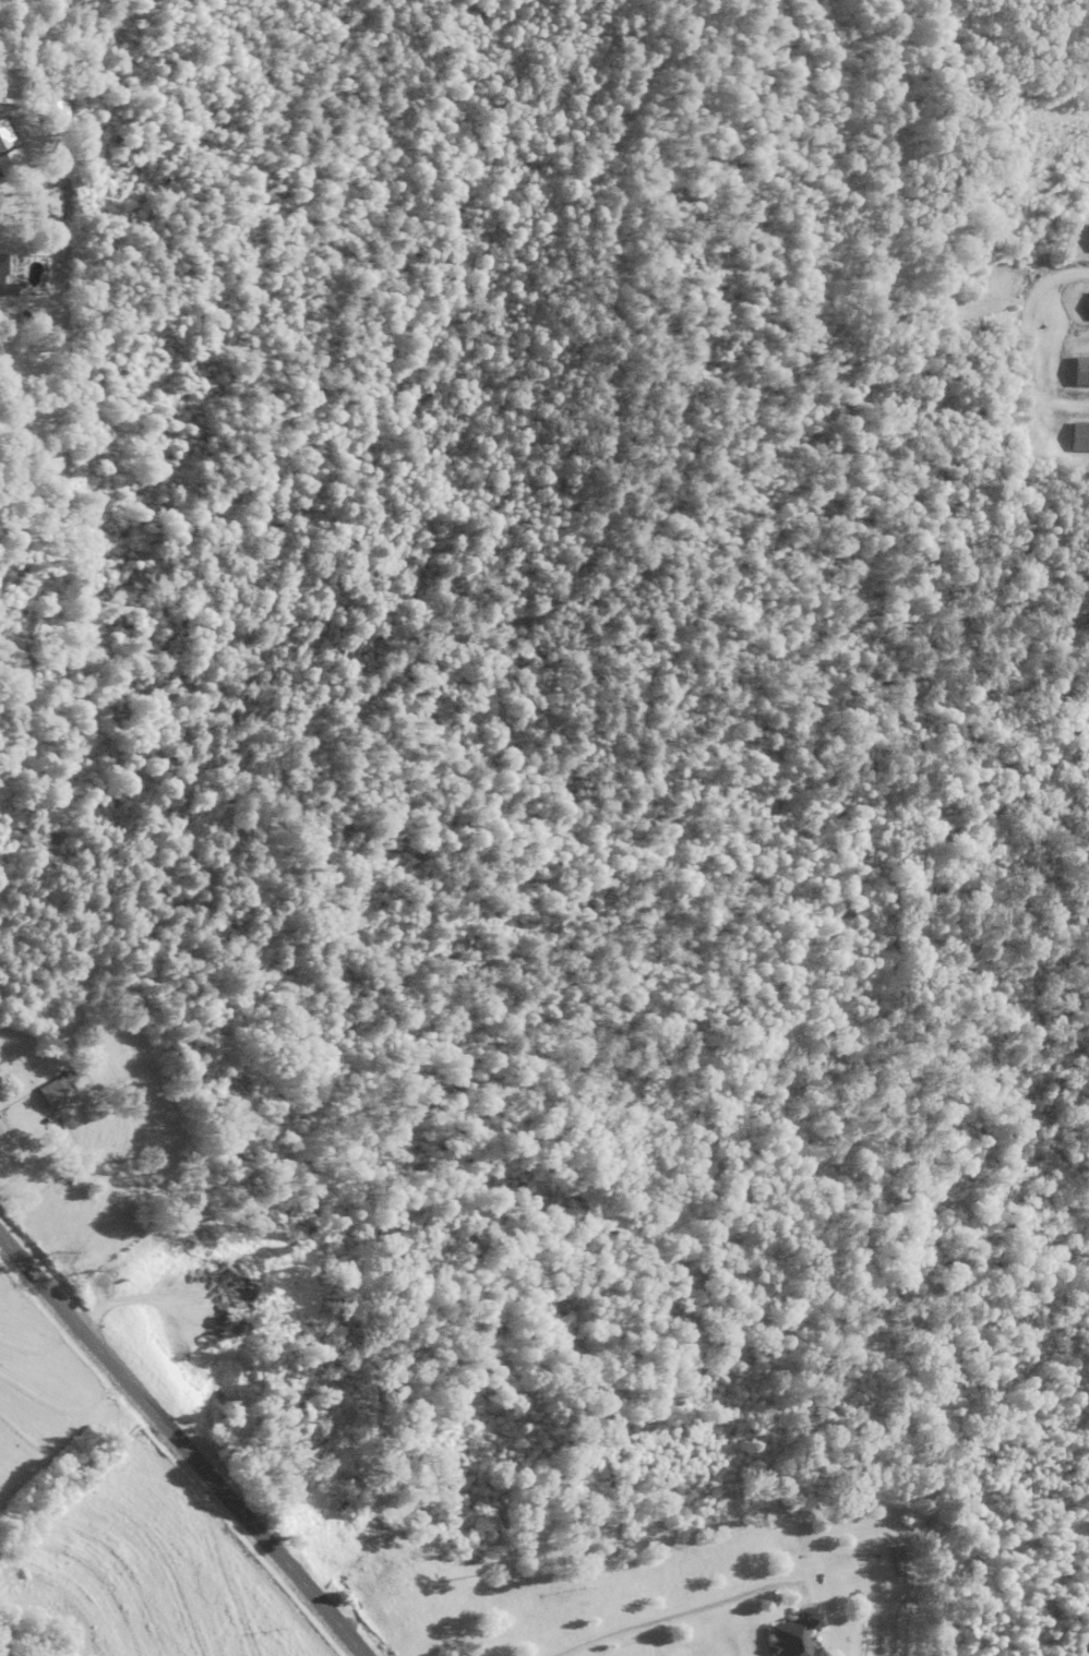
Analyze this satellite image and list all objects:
building: (3, 141)
building: (13, 164)
building: (1088, 239)
building: (5, 280)
building: (1088, 308)
building: (1080, 372)
building: (1081, 437)
building: (60, 1093)
road: (181, 1445)
road: (670, 1617)
building: (786, 1635)

